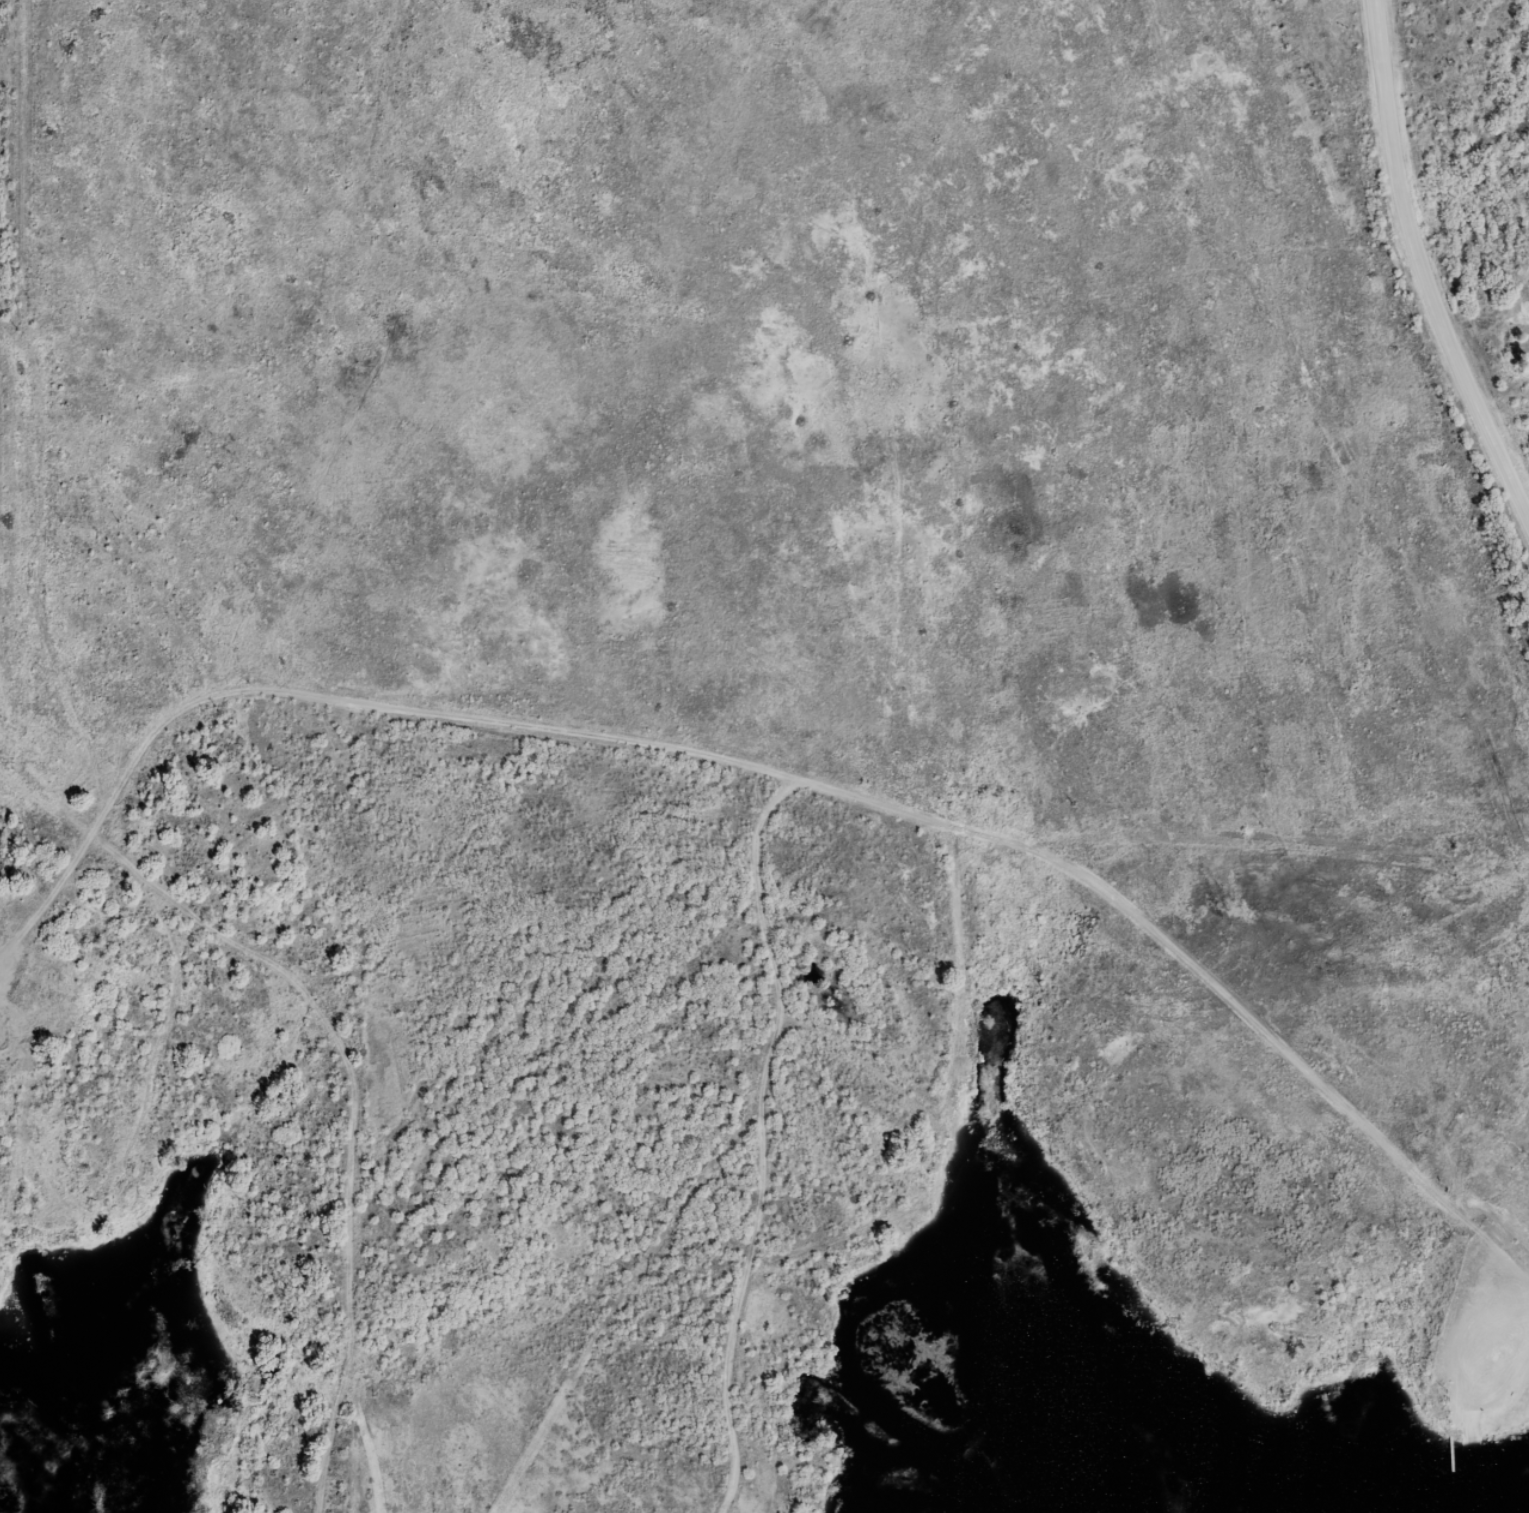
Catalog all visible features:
road: (1420, 267)
road: (339, 702)
road: (47, 806)
road: (1201, 972)
road: (353, 1117)
road: (761, 1140)
road: (96, 1193)
road: (1469, 1329)
road: (1470, 1429)

